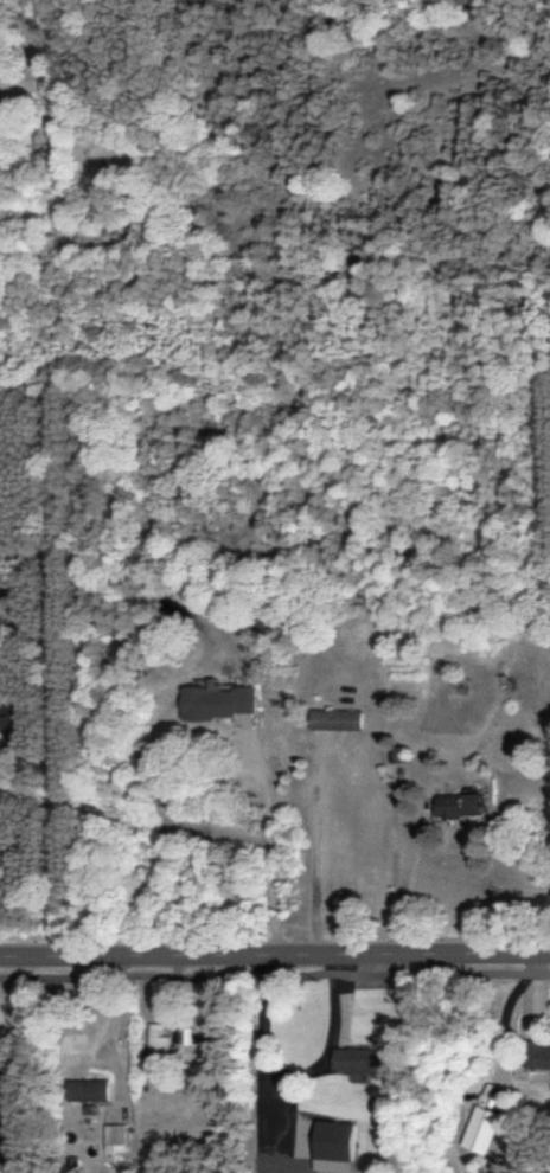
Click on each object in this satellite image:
building: (0, 573)
building: (215, 701)
building: (332, 719)
building: (6, 723)
road: (52, 793)
building: (455, 803)
road: (268, 847)
road: (385, 874)
road: (274, 953)
road: (275, 974)
building: (153, 1040)
building: (535, 1053)
building: (357, 1059)
building: (83, 1089)
building: (477, 1128)
building: (110, 1137)
building: (328, 1145)
building: (7, 1167)

